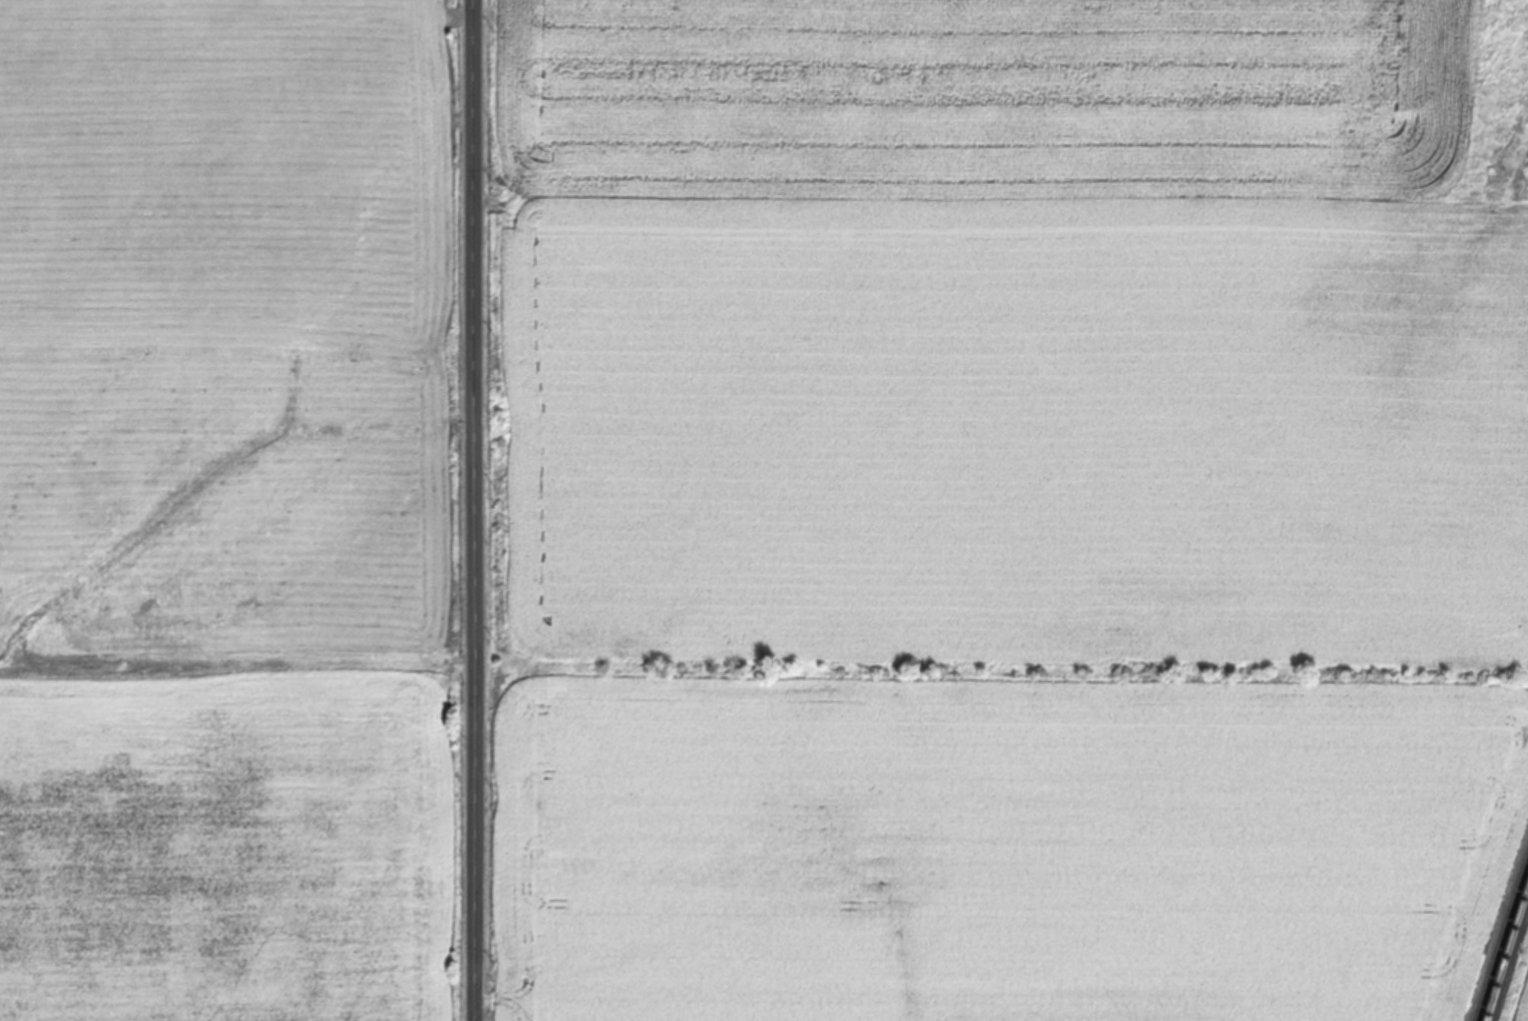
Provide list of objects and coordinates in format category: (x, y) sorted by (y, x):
road: (473, 510)
railway: (1500, 935)
railway: (1506, 954)

